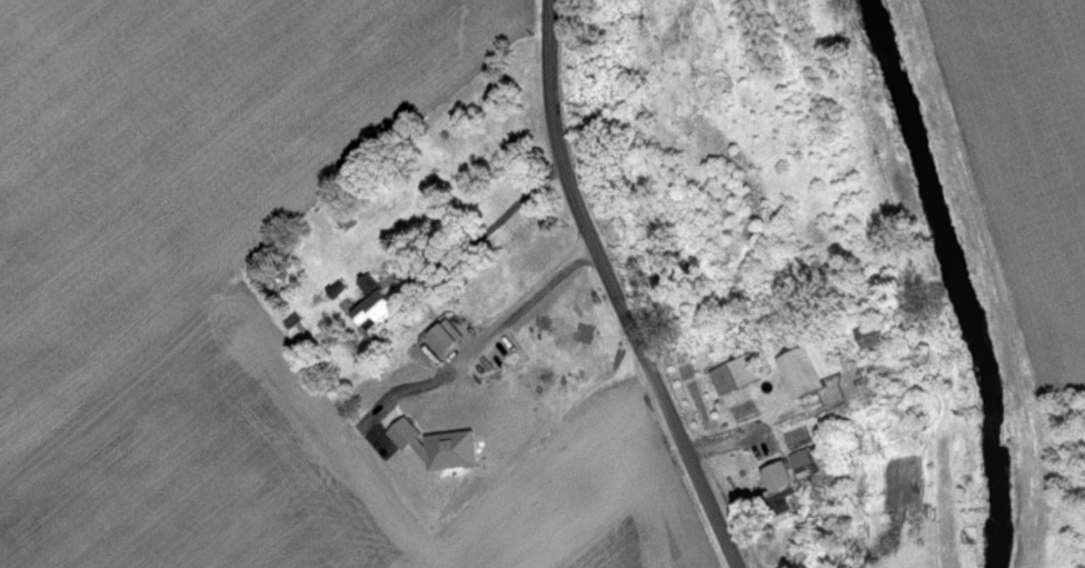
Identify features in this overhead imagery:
crop: (1017, 210)
road: (492, 220)
river: (963, 278)
road: (616, 291)
road: (524, 295)
building: (377, 306)
building: (868, 335)
building: (442, 338)
building: (806, 367)
building: (735, 372)
building: (773, 496)

